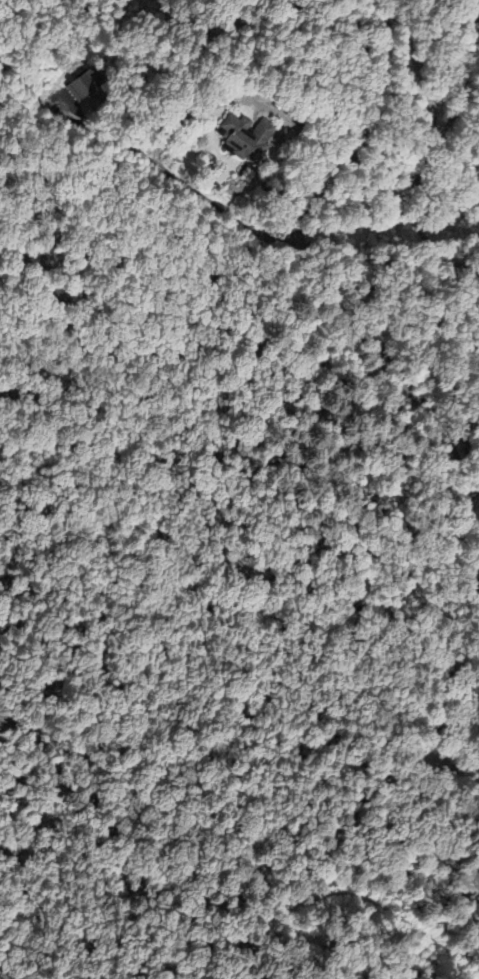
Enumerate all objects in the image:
building: (83, 83)
road: (237, 96)
road: (98, 132)
building: (247, 135)
road: (220, 210)
road: (301, 254)
road: (471, 488)
road: (472, 535)
road: (467, 545)

